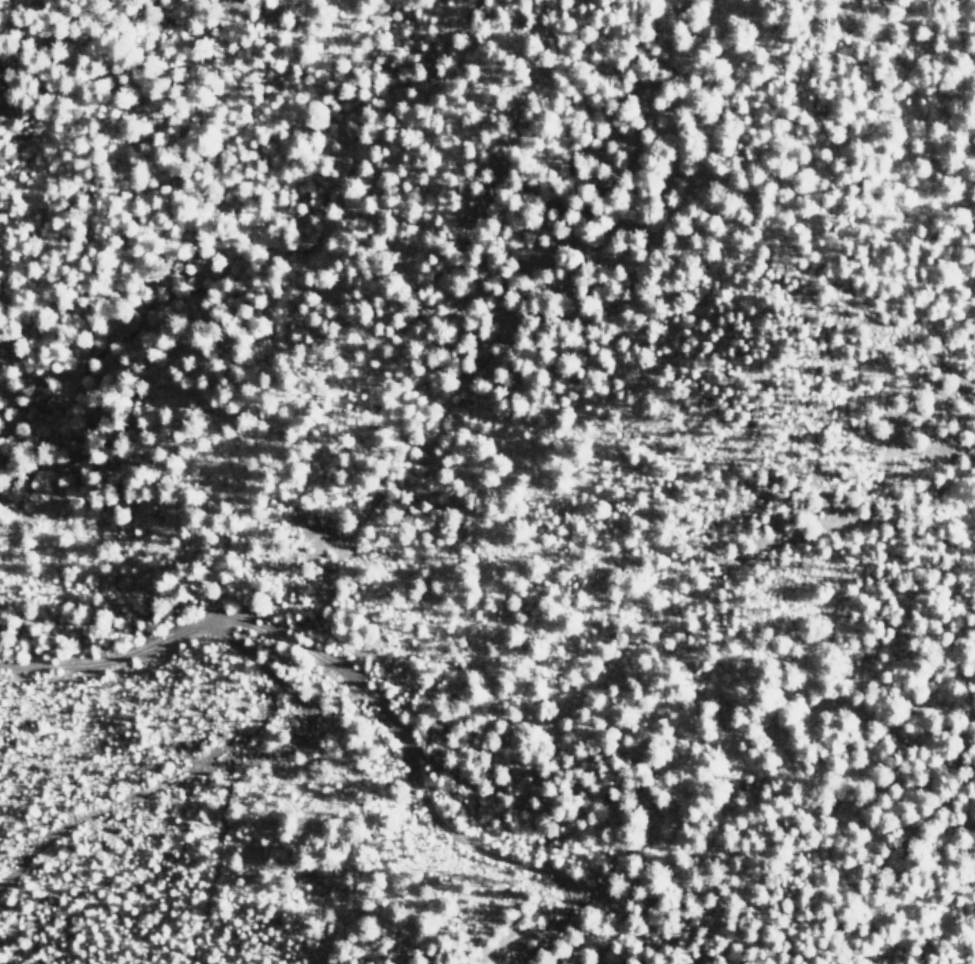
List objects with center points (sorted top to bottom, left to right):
road: (360, 678)

